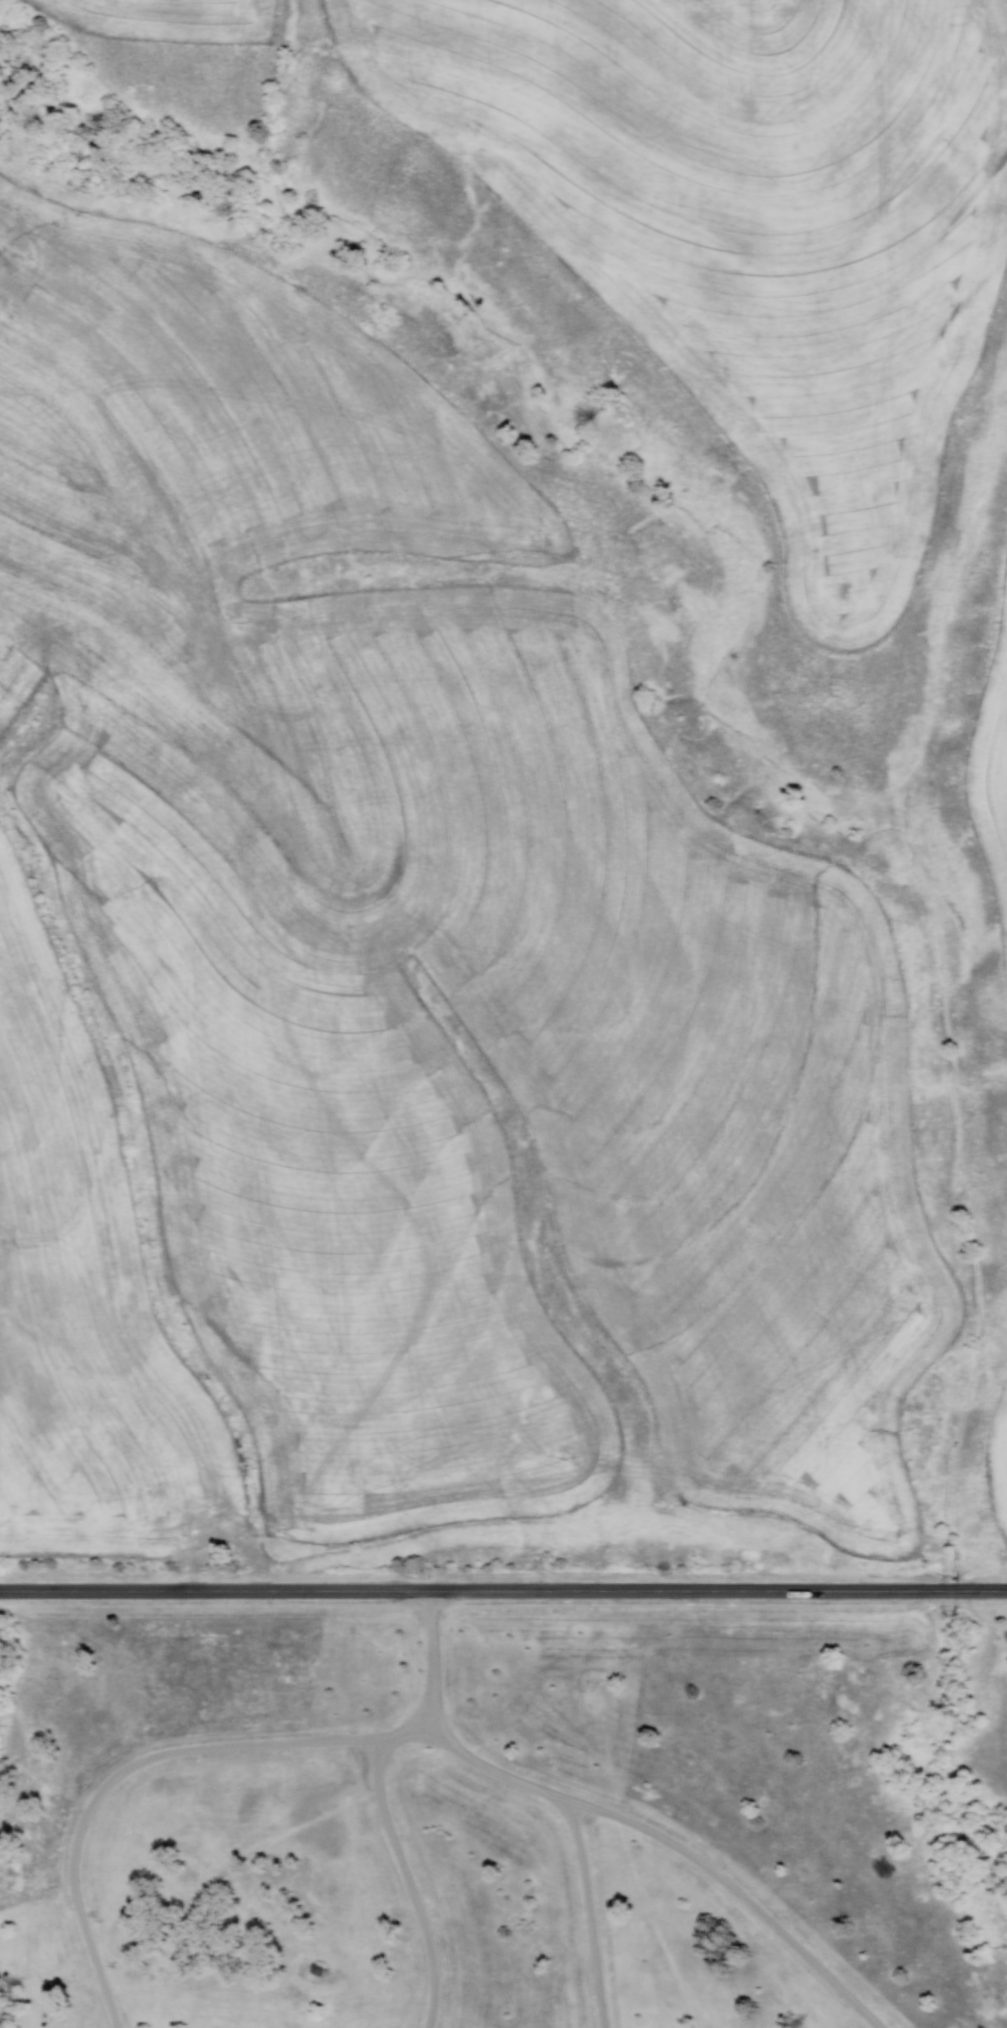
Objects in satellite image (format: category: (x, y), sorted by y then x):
road: (503, 1590)
road: (405, 1734)
road: (436, 1736)
road: (261, 1744)
park: (504, 1808)
road: (646, 1833)

